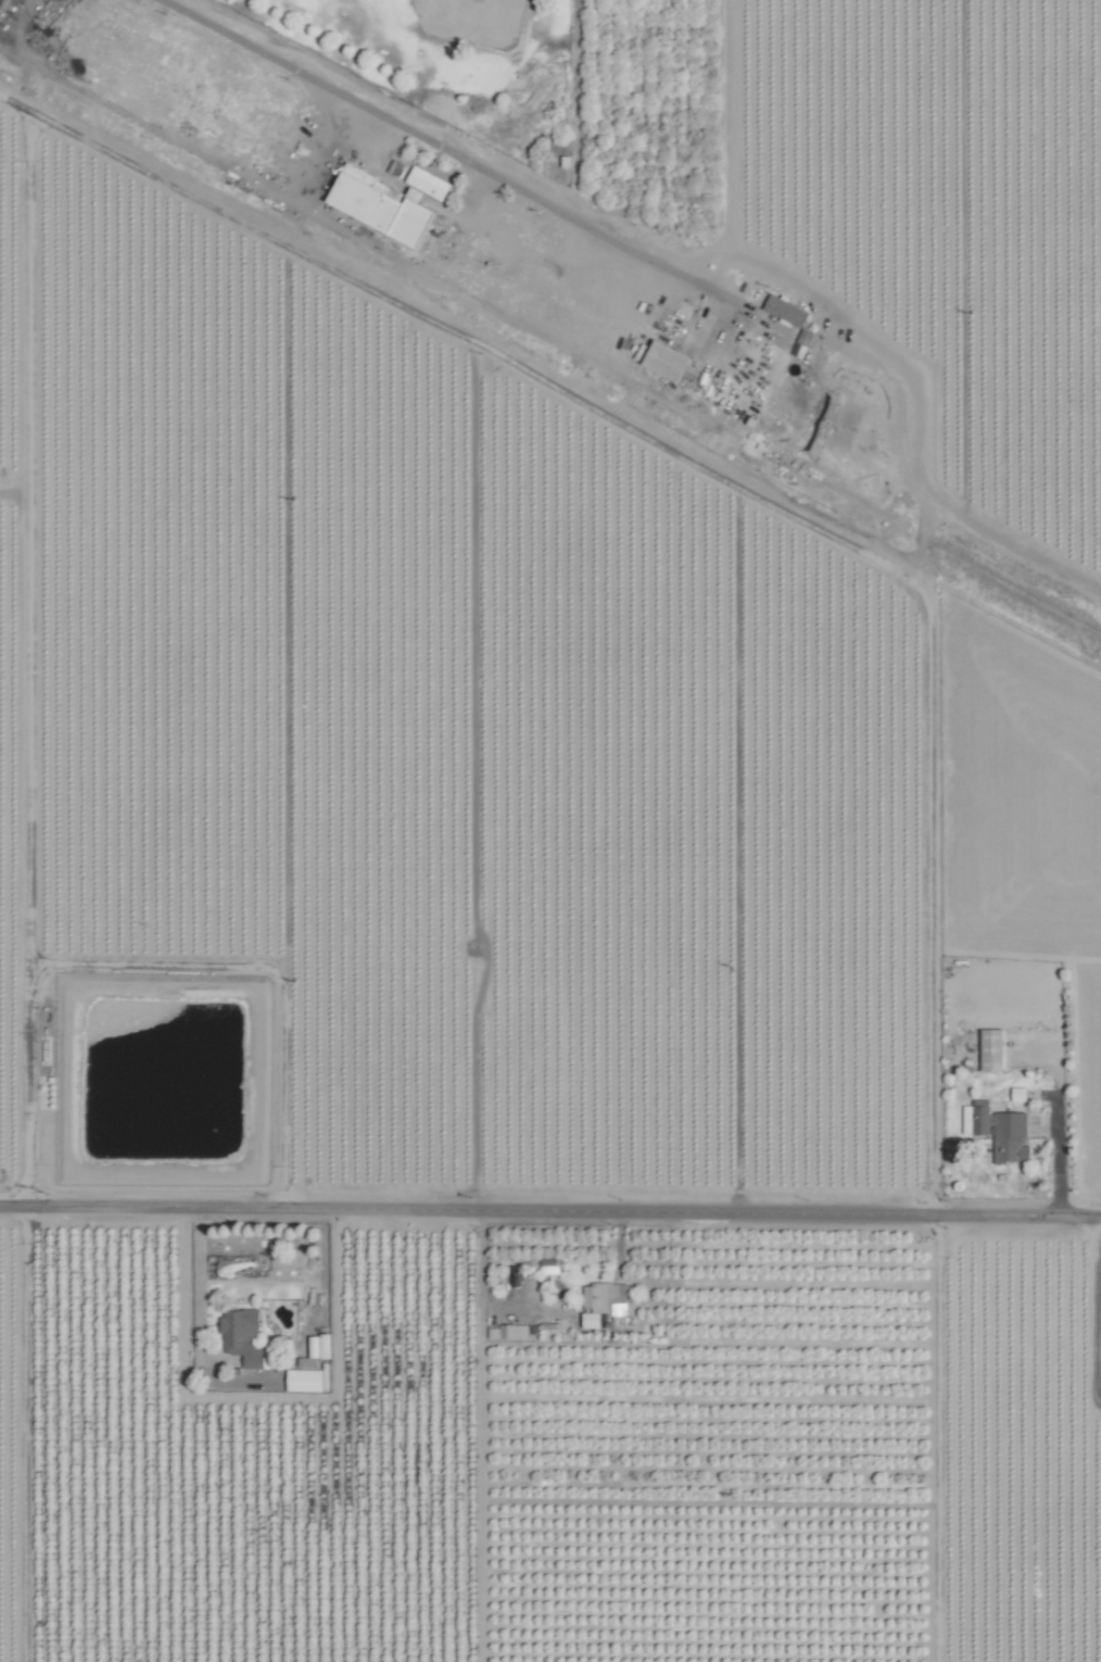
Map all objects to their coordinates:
road: (393, 125)
crop: (875, 194)
building: (781, 310)
building: (659, 360)
crop: (1017, 559)
crop: (466, 1019)
building: (986, 1049)
building: (1000, 1132)
road: (1054, 1159)
road: (549, 1212)
building: (548, 1267)
building: (599, 1302)
road: (1096, 1309)
building: (515, 1332)
building: (245, 1337)
road: (1099, 1337)
building: (311, 1367)

